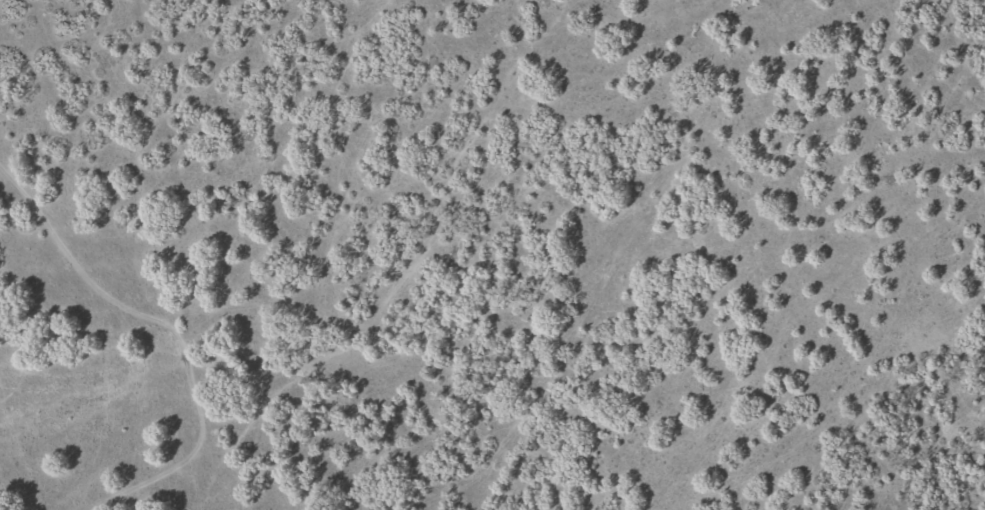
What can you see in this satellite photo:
road: (149, 347)
road: (90, 437)

